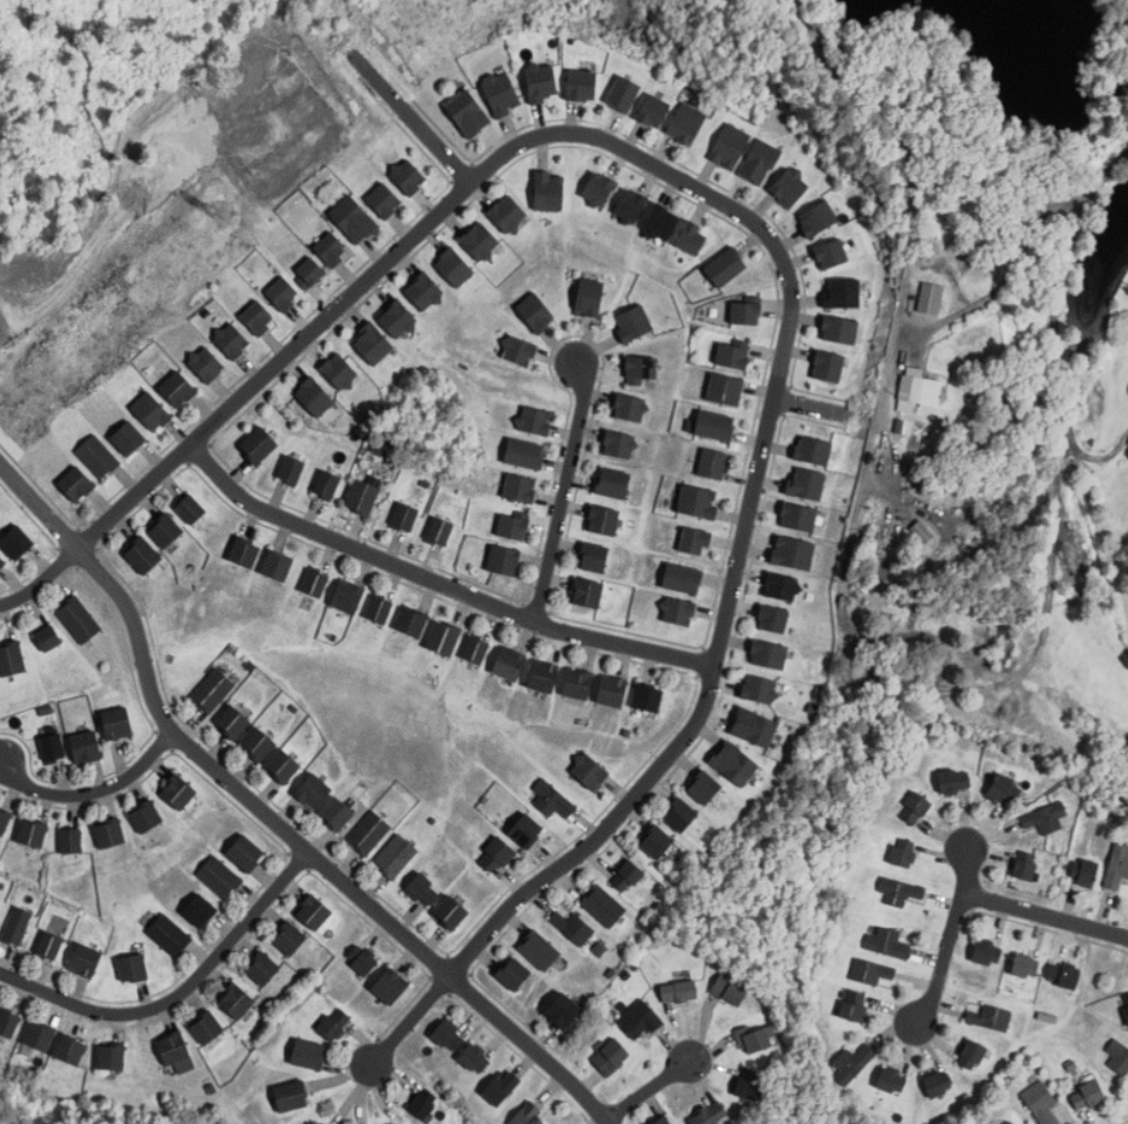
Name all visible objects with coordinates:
building: (538, 80)
building: (581, 85)
building: (500, 92)
building: (623, 92)
building: (653, 110)
road: (408, 111)
road: (966, 111)
building: (467, 113)
building: (685, 123)
building: (729, 146)
building: (759, 162)
building: (407, 176)
building: (789, 187)
building: (599, 188)
building: (548, 190)
building: (383, 199)
building: (630, 205)
building: (507, 214)
power tower: (218, 217)
building: (352, 218)
building: (817, 218)
building: (661, 222)
road: (425, 224)
building: (690, 237)
building: (479, 242)
building: (331, 248)
building: (830, 253)
building: (726, 266)
building: (454, 267)
building: (308, 272)
building: (424, 291)
building: (282, 293)
building: (842, 293)
road: (989, 293)
building: (589, 295)
building: (930, 297)
building: (535, 312)
building: (745, 312)
building: (257, 317)
building: (397, 319)
building: (633, 322)
building: (839, 329)
building: (231, 340)
building: (371, 343)
building: (518, 350)
building: (730, 355)
road: (1058, 356)
building: (205, 364)
building: (828, 366)
building: (640, 369)
building: (338, 371)
building: (177, 389)
building: (917, 389)
building: (725, 390)
building: (313, 395)
building: (630, 408)
road: (821, 408)
building: (150, 412)
building: (534, 420)
building: (714, 426)
building: (127, 438)
building: (620, 444)
building: (257, 446)
building: (813, 450)
building: (524, 452)
building: (97, 457)
building: (712, 463)
building: (291, 470)
building: (612, 481)
building: (76, 483)
building: (325, 483)
building: (805, 483)
building: (519, 488)
road: (563, 490)
building: (361, 497)
building: (697, 501)
building: (189, 508)
building: (798, 516)
building: (403, 517)
building: (602, 519)
building: (512, 526)
building: (164, 530)
building: (439, 531)
building: (921, 531)
building: (693, 540)
building: (16, 541)
building: (243, 551)
building: (792, 551)
building: (142, 555)
building: (593, 557)
building: (503, 559)
building: (1, 561)
building: (275, 565)
building: (682, 578)
road: (439, 581)
building: (314, 583)
building: (781, 586)
building: (587, 592)
building: (347, 596)
building: (378, 608)
building: (678, 610)
building: (78, 618)
building: (771, 618)
building: (411, 622)
building: (443, 637)
building: (47, 638)
building: (475, 649)
building: (768, 654)
building: (11, 658)
building: (508, 663)
building: (542, 676)
building: (577, 683)
building: (759, 688)
building: (212, 691)
building: (611, 691)
building: (648, 696)
building: (232, 721)
building: (116, 722)
building: (753, 727)
building: (257, 743)
building: (52, 746)
building: (85, 746)
building: (733, 763)
building: (282, 765)
building: (590, 771)
road: (654, 774)
building: (953, 781)
building: (703, 786)
building: (1003, 789)
road: (93, 791)
building: (177, 791)
building: (312, 791)
building: (551, 799)
building: (915, 808)
building: (336, 813)
building: (680, 814)
building: (145, 817)
building: (1046, 818)
road: (272, 819)
building: (3, 820)
building: (525, 830)
building: (31, 832)
building: (108, 832)
building: (368, 832)
building: (70, 840)
building: (657, 841)
building: (245, 853)
building: (902, 853)
building: (495, 854)
building: (395, 856)
building: (1024, 866)
building: (1117, 867)
building: (1087, 872)
building: (626, 876)
building: (220, 877)
building: (422, 890)
building: (898, 891)
building: (603, 906)
building: (198, 911)
building: (313, 912)
building: (450, 912)
road: (1044, 917)
building: (16, 925)
building: (573, 927)
building: (169, 935)
road: (950, 937)
building: (289, 939)
building: (886, 944)
building: (48, 945)
building: (538, 950)
building: (986, 954)
building: (362, 960)
building: (84, 961)
building: (1024, 966)
building: (132, 968)
building: (262, 969)
building: (871, 971)
building: (513, 974)
building: (1063, 976)
building: (389, 986)
building: (729, 989)
building: (678, 991)
road: (179, 994)
building: (235, 1003)
building: (853, 1005)
building: (1127, 1008)
building: (562, 1011)
building: (990, 1017)
building: (639, 1020)
building: (8, 1024)
building: (334, 1024)
building: (206, 1028)
building: (38, 1036)
building: (448, 1036)
building: (756, 1039)
building: (172, 1048)
building: (70, 1049)
building: (308, 1055)
building: (971, 1055)
building: (609, 1057)
building: (1118, 1057)
building: (110, 1058)
building: (474, 1059)
building: (853, 1063)
building: (891, 1082)
building: (748, 1084)
building: (936, 1085)
building: (500, 1087)
road: (649, 1088)
building: (1087, 1095)
building: (291, 1097)
building: (1040, 1102)
building: (420, 1106)
building: (710, 1114)
building: (527, 1115)
building: (662, 1121)
building: (313, 1123)
building: (1007, 1123)
building: (1011, 1123)

